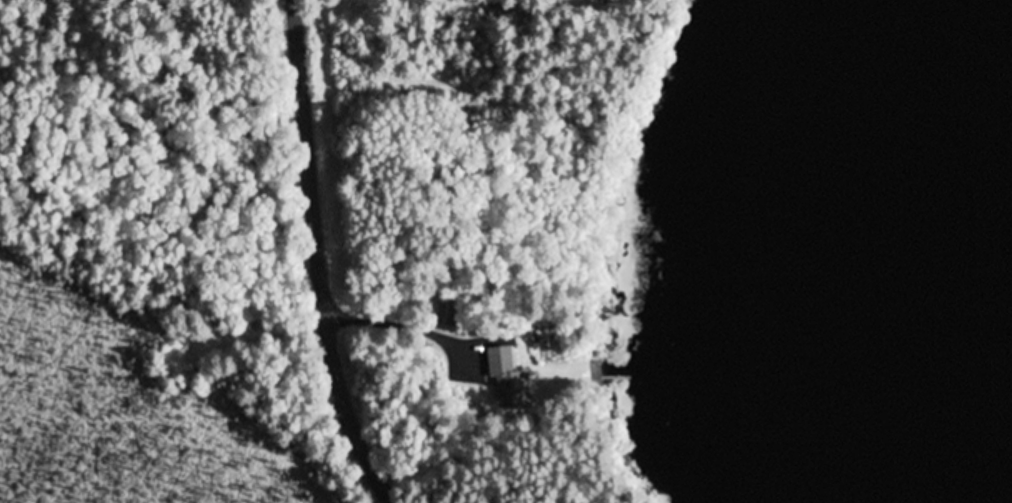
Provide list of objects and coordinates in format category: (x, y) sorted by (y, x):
road: (322, 259)
building: (509, 379)

